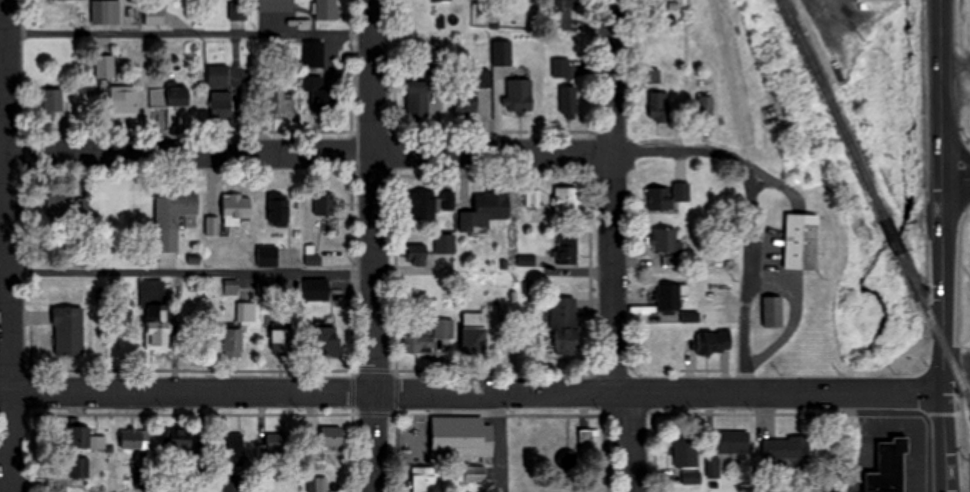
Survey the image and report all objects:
building: (441, 0)
building: (875, 1)
building: (276, 5)
building: (326, 9)
building: (237, 11)
building: (108, 12)
building: (561, 14)
building: (154, 15)
road: (189, 32)
building: (313, 53)
building: (502, 53)
road: (941, 53)
building: (104, 65)
building: (561, 67)
building: (217, 68)
building: (470, 92)
building: (312, 94)
building: (177, 95)
building: (519, 95)
building: (156, 97)
building: (418, 98)
building: (125, 99)
building: (52, 100)
building: (568, 101)
building: (281, 102)
building: (221, 104)
building: (660, 105)
building: (705, 105)
railway: (833, 107)
road: (954, 134)
road: (942, 144)
road: (495, 149)
road: (956, 180)
building: (667, 195)
building: (533, 197)
road: (613, 197)
building: (567, 199)
building: (325, 203)
building: (430, 203)
building: (60, 205)
building: (236, 207)
building: (177, 210)
building: (277, 210)
building: (485, 210)
railway: (894, 234)
building: (444, 243)
building: (667, 244)
road: (374, 245)
building: (793, 245)
road: (7, 246)
building: (567, 249)
building: (417, 253)
building: (266, 255)
road: (191, 270)
building: (316, 288)
building: (669, 296)
building: (773, 311)
building: (155, 313)
building: (691, 316)
building: (564, 325)
railway: (934, 328)
building: (68, 331)
building: (474, 333)
building: (427, 337)
road: (944, 337)
building: (326, 341)
building: (714, 341)
building: (232, 343)
building: (281, 343)
road: (472, 393)
building: (76, 436)
building: (332, 436)
building: (462, 436)
building: (587, 436)
building: (133, 439)
building: (179, 439)
building: (730, 442)
road: (502, 443)
road: (631, 443)
building: (231, 447)
building: (276, 448)
building: (784, 448)
building: (686, 450)
building: (77, 466)
building: (877, 466)
building: (475, 473)
building: (426, 479)
building: (317, 484)

